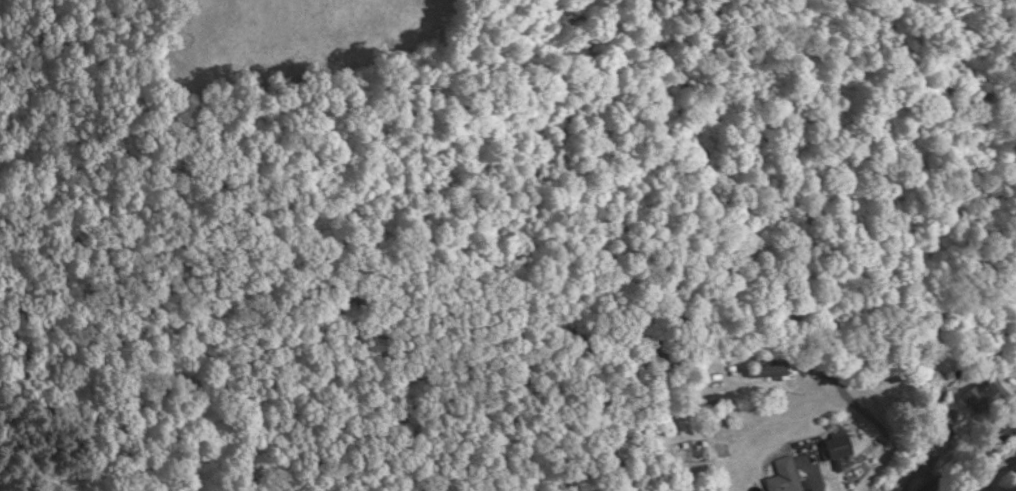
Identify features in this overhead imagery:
building: (769, 373)
building: (981, 397)
building: (715, 404)
building: (837, 439)
road: (960, 450)
building: (784, 477)

